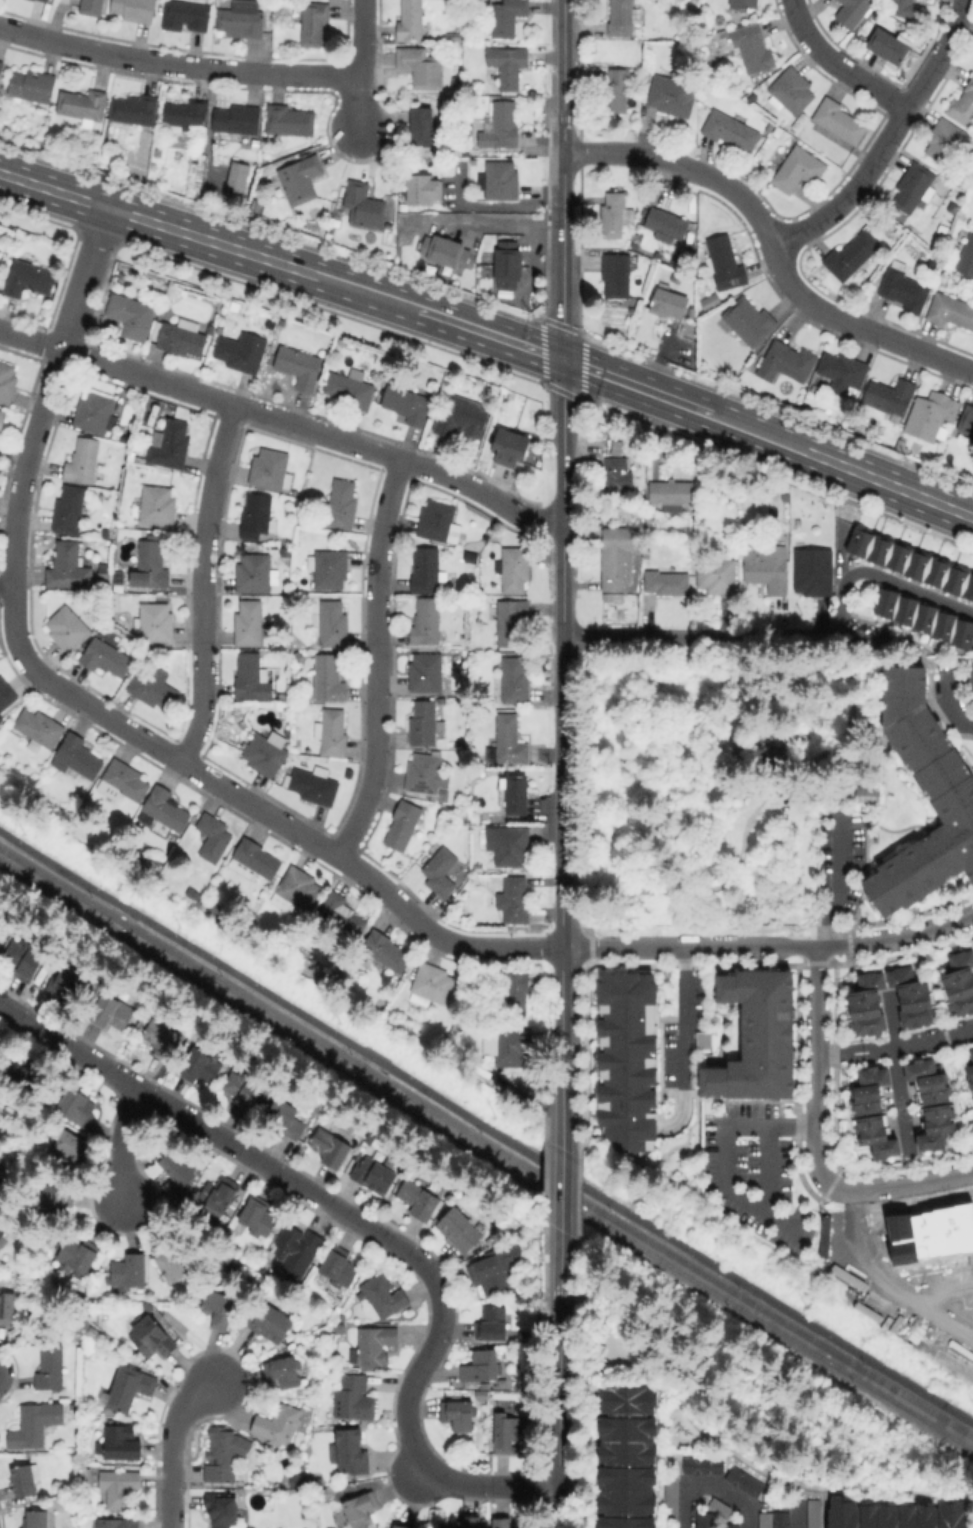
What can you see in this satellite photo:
building: (42, 0)
building: (46, 0)
building: (744, 3)
building: (91, 7)
building: (135, 9)
building: (909, 9)
building: (852, 12)
building: (186, 15)
building: (508, 16)
building: (623, 17)
building: (411, 20)
building: (242, 22)
building: (314, 23)
building: (460, 37)
building: (890, 45)
building: (753, 47)
road: (563, 59)
road: (177, 62)
road: (835, 64)
building: (1, 65)
building: (509, 65)
building: (421, 66)
road: (360, 67)
building: (455, 81)
building: (32, 85)
building: (619, 90)
building: (791, 90)
building: (752, 95)
building: (671, 97)
building: (83, 105)
building: (963, 105)
building: (135, 109)
building: (187, 114)
building: (289, 119)
building: (839, 120)
building: (238, 122)
building: (500, 126)
building: (424, 127)
building: (731, 130)
road: (884, 138)
building: (946, 141)
building: (195, 145)
building: (254, 154)
building: (798, 169)
building: (238, 176)
building: (301, 178)
building: (502, 180)
building: (914, 187)
building: (422, 188)
building: (255, 203)
building: (364, 204)
building: (615, 214)
building: (972, 219)
building: (666, 223)
road: (499, 224)
road: (563, 239)
road: (771, 246)
building: (444, 251)
building: (852, 255)
building: (967, 257)
building: (725, 263)
building: (508, 265)
building: (616, 275)
building: (28, 278)
building: (943, 281)
building: (903, 287)
building: (711, 301)
building: (668, 303)
building: (950, 310)
building: (164, 311)
building: (131, 314)
building: (750, 320)
road: (490, 335)
building: (180, 336)
building: (242, 351)
building: (761, 359)
traffic signals: (563, 360)
building: (787, 362)
building: (299, 367)
building: (843, 371)
building: (7, 381)
building: (351, 388)
building: (815, 388)
road: (46, 393)
building: (892, 397)
building: (409, 403)
building: (96, 413)
building: (930, 415)
building: (459, 416)
building: (2, 419)
building: (967, 420)
road: (283, 423)
building: (170, 444)
building: (509, 448)
building: (615, 448)
building: (83, 461)
building: (271, 470)
building: (616, 480)
building: (672, 492)
building: (785, 496)
building: (342, 504)
building: (156, 506)
building: (71, 510)
building: (256, 515)
building: (436, 519)
building: (649, 519)
building: (619, 555)
building: (151, 564)
building: (913, 564)
building: (68, 567)
building: (329, 568)
building: (767, 568)
building: (514, 569)
building: (426, 572)
building: (813, 572)
building: (254, 573)
building: (717, 573)
road: (882, 578)
road: (7, 583)
building: (667, 583)
road: (200, 585)
building: (608, 596)
building: (113, 601)
building: (922, 619)
building: (426, 622)
building: (512, 622)
building: (154, 623)
building: (249, 624)
building: (333, 625)
building: (68, 629)
road: (736, 636)
road: (562, 653)
building: (106, 657)
road: (375, 660)
road: (928, 668)
building: (428, 673)
building: (252, 678)
building: (327, 679)
building: (513, 680)
road: (959, 680)
building: (152, 689)
building: (5, 700)
road: (952, 708)
building: (423, 723)
building: (39, 728)
building: (332, 732)
building: (508, 741)
building: (267, 753)
building: (77, 756)
building: (427, 774)
building: (123, 781)
building: (313, 784)
rooftop solar panel: (419, 786)
building: (514, 794)
building: (862, 794)
building: (951, 795)
road: (253, 806)
building: (164, 809)
building: (405, 825)
building: (214, 838)
building: (508, 844)
building: (254, 860)
building: (477, 867)
building: (441, 871)
road: (839, 881)
building: (299, 887)
building: (515, 899)
building: (340, 914)
building: (2, 926)
road: (898, 937)
building: (972, 945)
road: (691, 946)
building: (386, 952)
building: (23, 960)
building: (958, 982)
building: (431, 984)
building: (74, 988)
building: (515, 994)
building: (911, 996)
building: (867, 1004)
building: (112, 1010)
road: (688, 1017)
road: (561, 1029)
building: (164, 1037)
building: (759, 1039)
building: (703, 1040)
building: (512, 1046)
road: (895, 1048)
building: (971, 1054)
building: (625, 1058)
building: (201, 1065)
road: (816, 1069)
road: (896, 1070)
building: (971, 1072)
building: (23, 1075)
building: (244, 1088)
building: (265, 1099)
building: (932, 1104)
building: (77, 1107)
building: (712, 1107)
building: (874, 1114)
building: (285, 1119)
road: (486, 1125)
building: (371, 1138)
railway: (486, 1142)
road: (123, 1146)
building: (331, 1148)
building: (67, 1152)
railway: (486, 1155)
road: (726, 1159)
building: (176, 1161)
road: (771, 1169)
road: (562, 1171)
building: (373, 1174)
building: (2, 1180)
road: (904, 1186)
building: (218, 1194)
building: (54, 1195)
building: (419, 1199)
building: (258, 1215)
road: (364, 1226)
building: (460, 1229)
building: (2, 1235)
building: (299, 1251)
building: (77, 1255)
building: (173, 1262)
building: (340, 1267)
building: (496, 1267)
building: (129, 1271)
road: (883, 1280)
road: (955, 1288)
road: (866, 1291)
building: (384, 1296)
building: (7, 1307)
building: (219, 1309)
building: (270, 1322)
building: (492, 1324)
building: (340, 1329)
building: (92, 1333)
building: (291, 1336)
building: (528, 1336)
building: (150, 1338)
building: (375, 1345)
building: (482, 1366)
building: (51, 1368)
building: (284, 1371)
road: (559, 1379)
building: (129, 1388)
building: (482, 1394)
building: (354, 1398)
building: (626, 1399)
building: (458, 1414)
building: (277, 1424)
building: (34, 1425)
building: (507, 1435)
building: (625, 1439)
building: (122, 1443)
road: (171, 1445)
building: (351, 1451)
road: (738, 1455)
building: (221, 1459)
building: (700, 1464)
road: (419, 1465)
building: (24, 1480)
building: (741, 1480)
building: (119, 1487)
building: (624, 1489)
building: (669, 1493)
road: (728, 1497)
building: (221, 1508)
road: (689, 1508)
building: (360, 1509)
building: (811, 1513)
building: (893, 1514)
road: (799, 1517)
building: (37, 1519)
building: (779, 1519)
building: (702, 1520)
building: (762, 1521)
building: (623, 1522)
building: (462, 1523)
building: (502, 1523)
building: (118, 1524)
building: (400, 1524)
building: (729, 1525)
building: (266, 1527)
building: (391, 1527)
building: (667, 1527)

